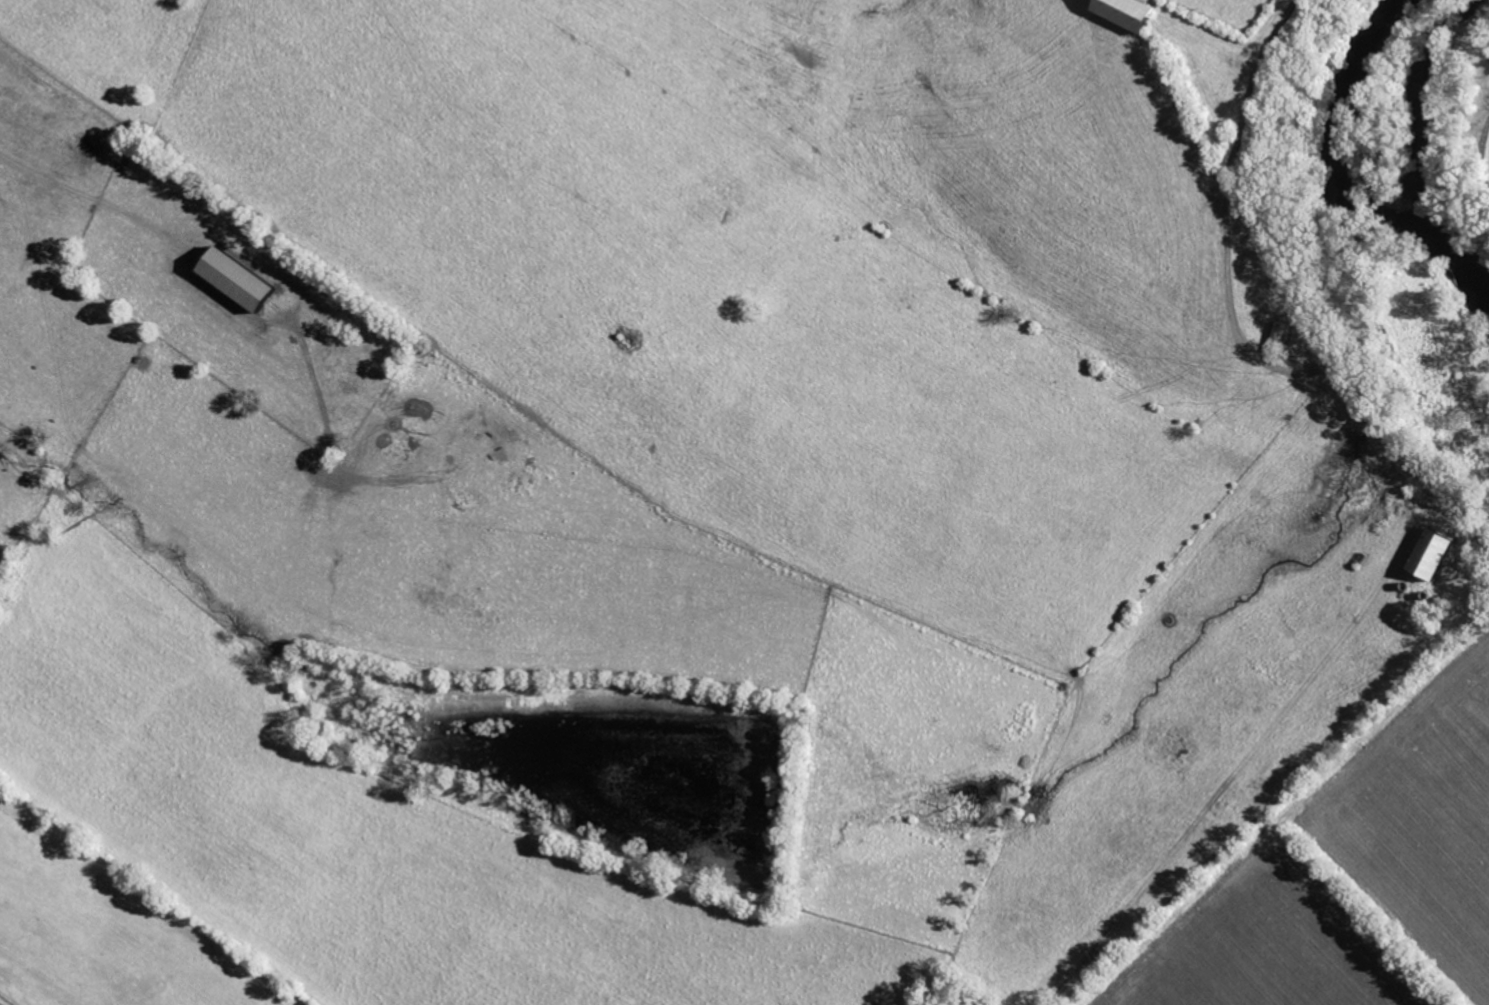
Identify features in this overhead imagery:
building: (1118, 12)
road: (94, 198)
river: (1349, 253)
building: (228, 279)
road: (1229, 296)
building: (1276, 333)
building: (1424, 557)

